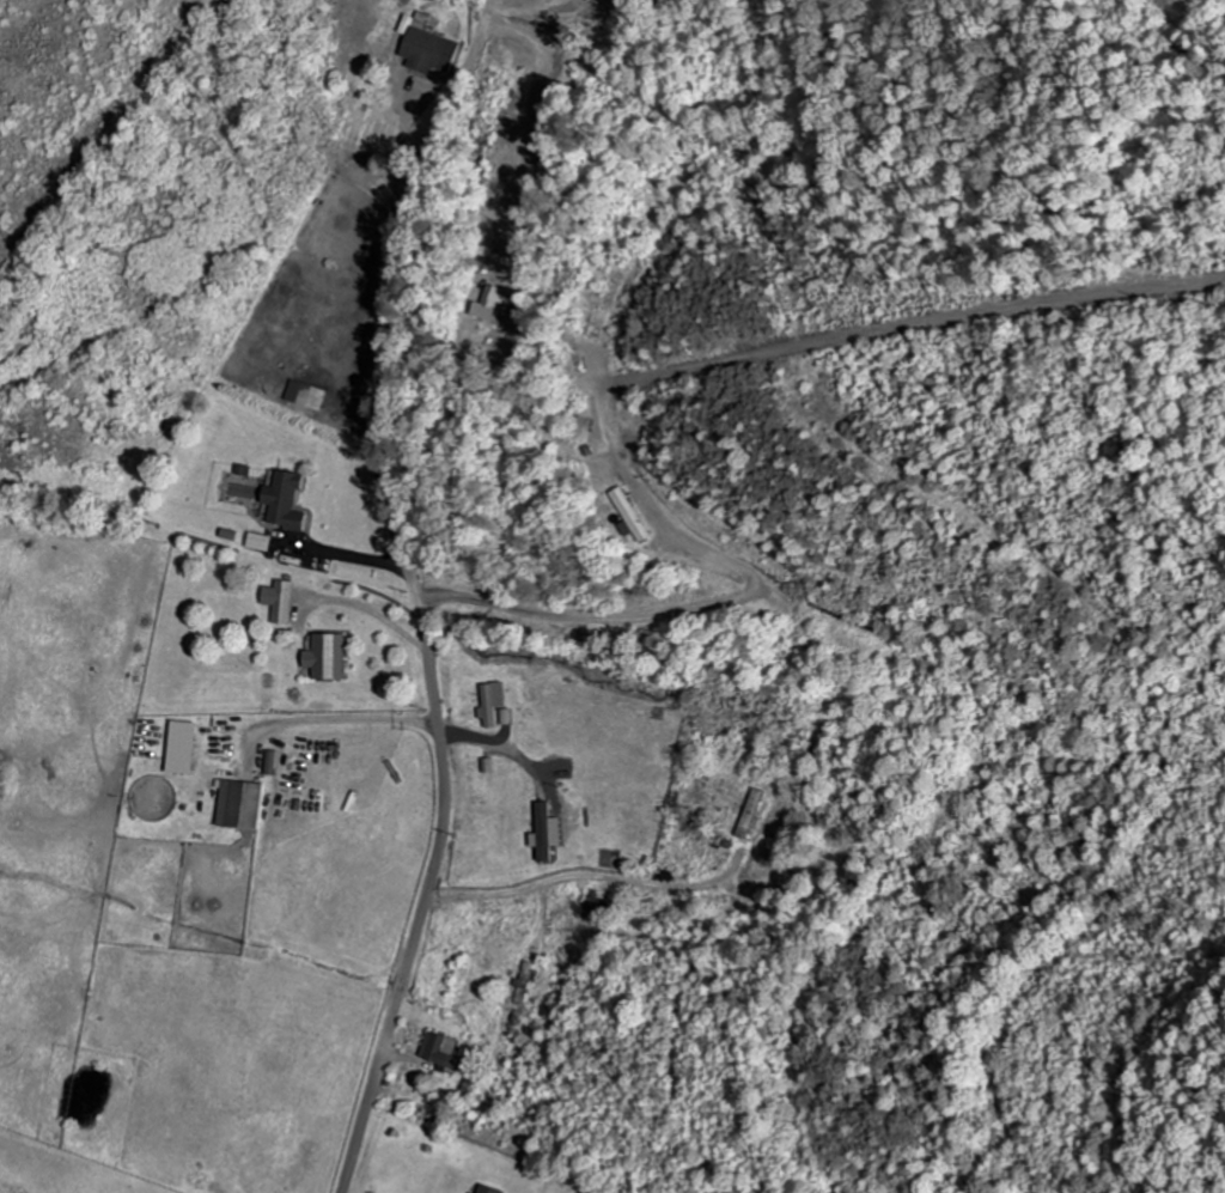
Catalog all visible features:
building: (609, 4)
building: (431, 51)
building: (494, 304)
building: (310, 396)
building: (291, 501)
building: (635, 517)
building: (264, 543)
road: (414, 591)
building: (286, 603)
building: (334, 658)
building: (492, 705)
building: (189, 750)
building: (245, 807)
building: (750, 815)
building: (546, 836)
building: (526, 985)
building: (486, 1191)

